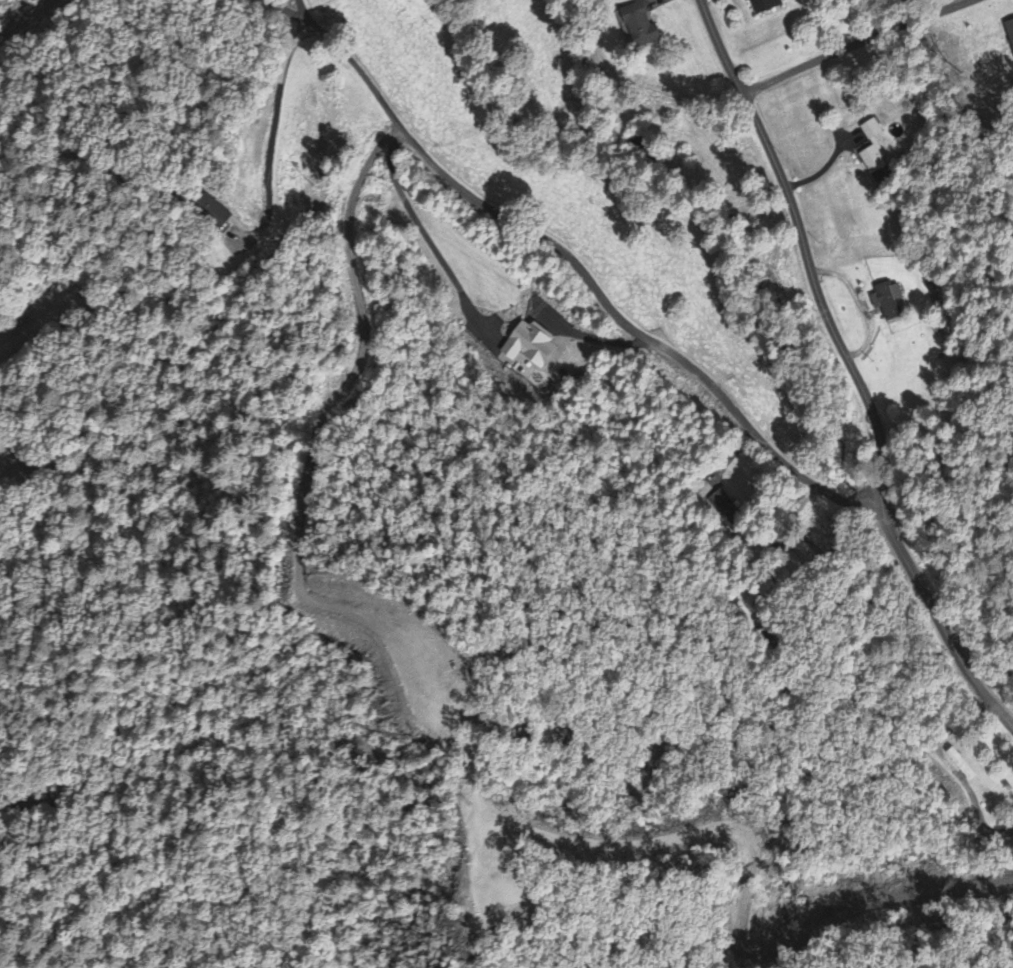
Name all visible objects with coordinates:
road: (48, 3)
building: (763, 6)
road: (294, 16)
road: (22, 18)
building: (639, 27)
building: (1010, 33)
road: (853, 43)
building: (872, 150)
building: (211, 212)
road: (803, 248)
road: (593, 287)
building: (886, 302)
building: (527, 347)
building: (726, 510)
road: (936, 620)
building: (959, 765)

